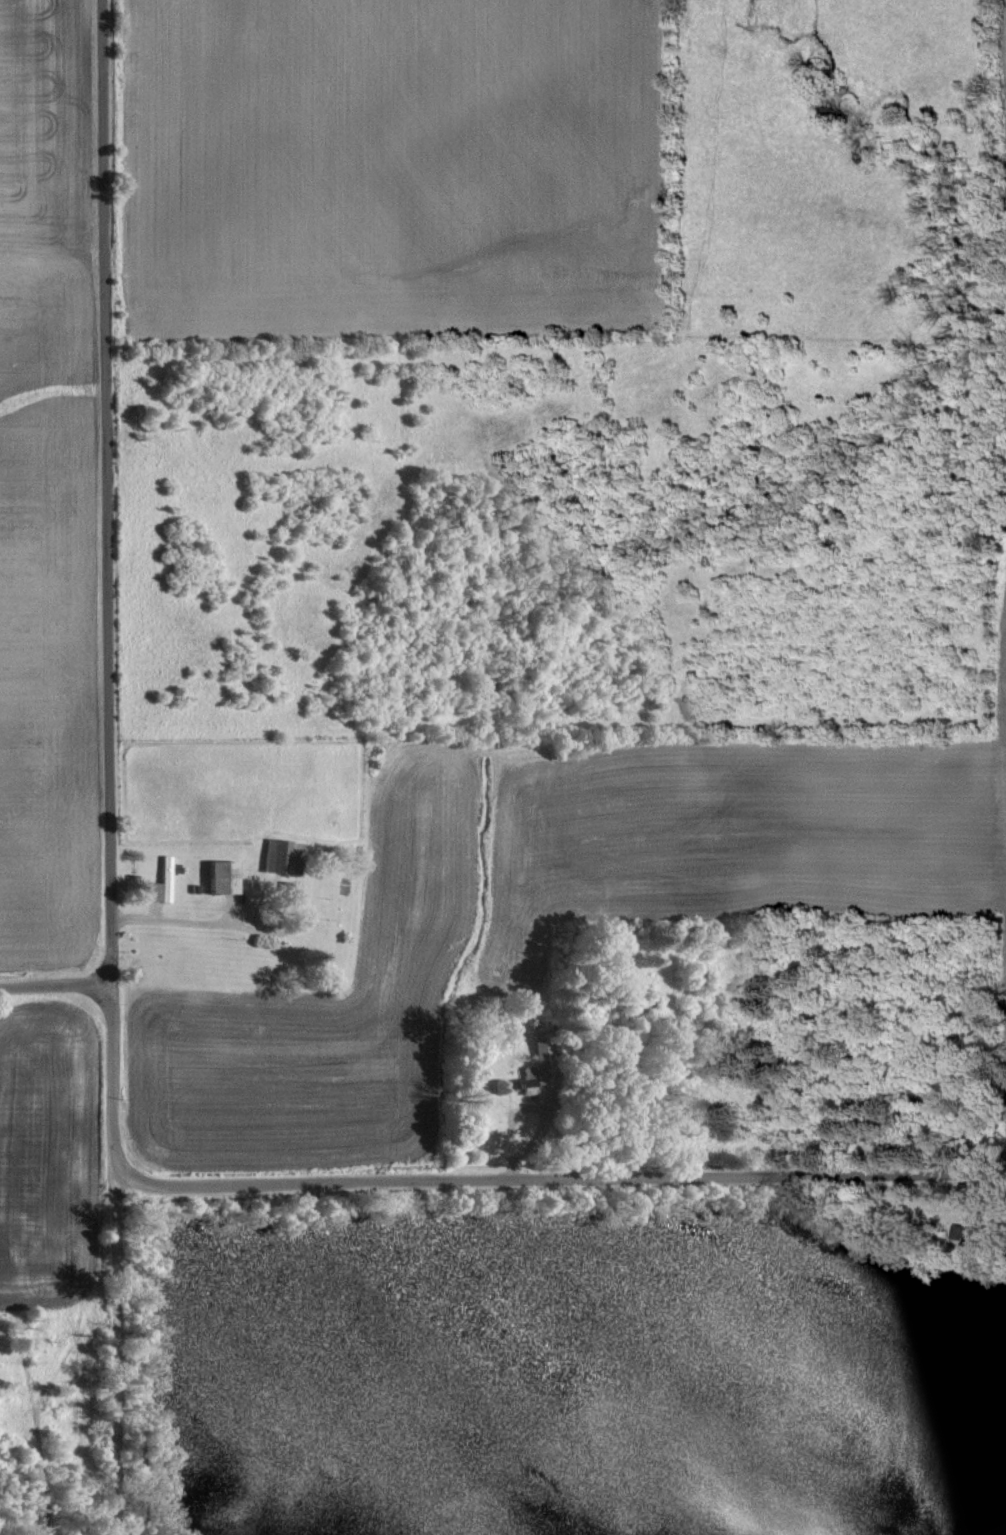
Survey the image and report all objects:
road: (105, 705)
building: (274, 855)
building: (217, 875)
building: (161, 879)
road: (202, 925)
road: (53, 990)
road: (791, 1095)
road: (532, 1137)
road: (554, 1179)
road: (153, 1377)
road: (144, 1469)

